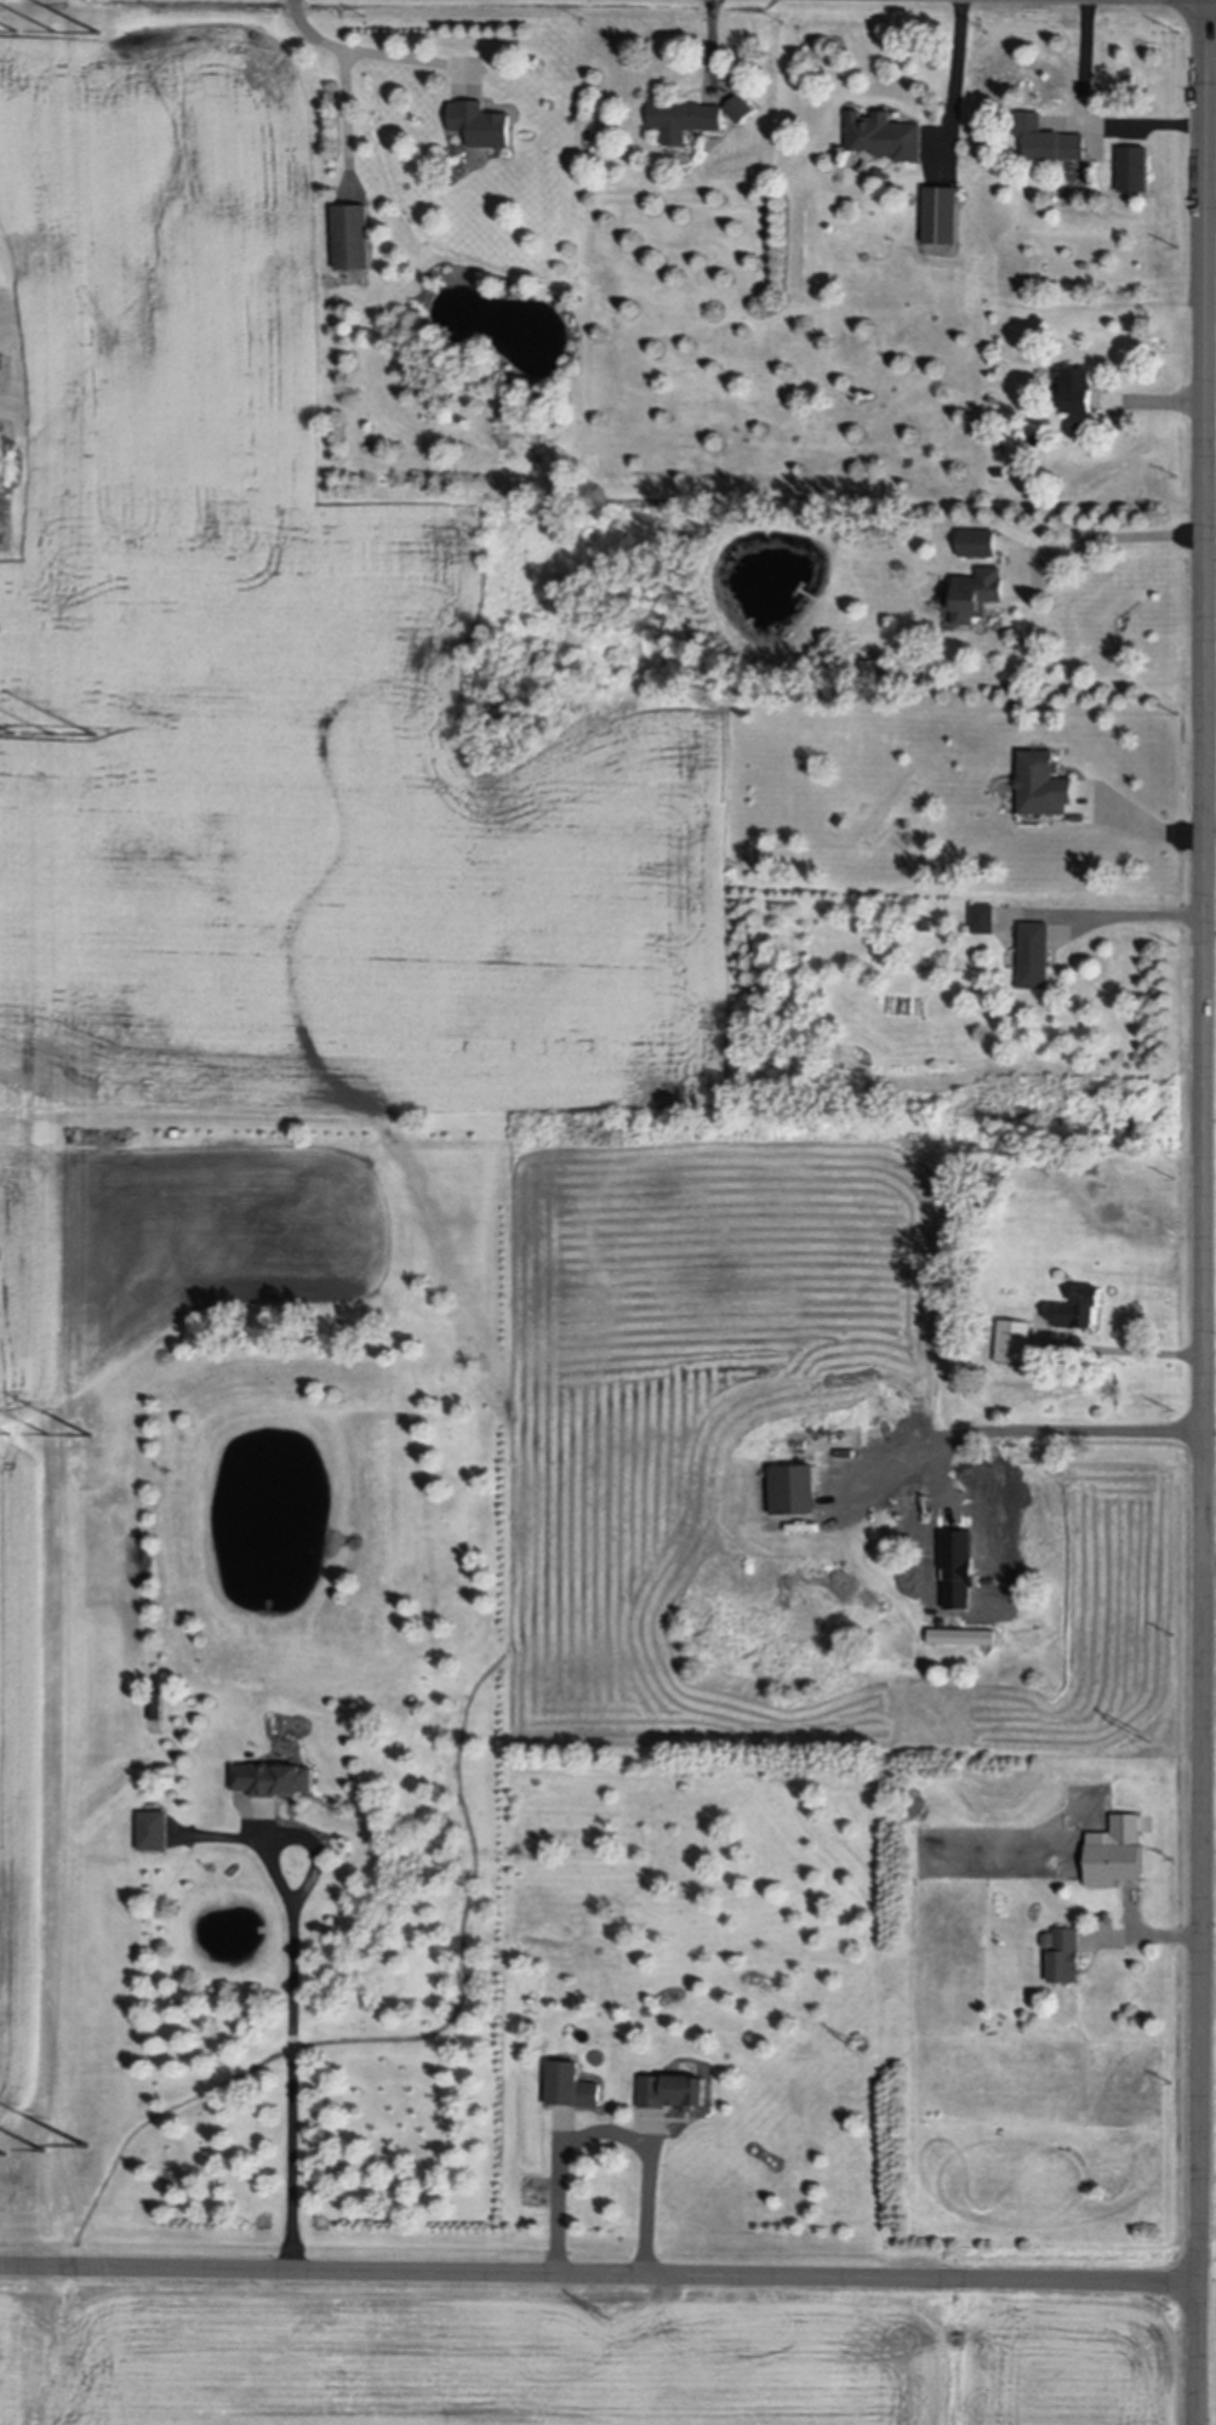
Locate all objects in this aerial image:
power tower: (15, 27)
power tower: (55, 33)
power tower: (95, 35)
road: (375, 55)
road: (955, 81)
building: (740, 106)
building: (685, 116)
road: (347, 118)
road: (1090, 119)
building: (483, 120)
building: (885, 132)
building: (1049, 136)
building: (1134, 166)
building: (881, 172)
building: (941, 211)
building: (353, 233)
building: (1, 359)
building: (1079, 386)
building: (999, 471)
road: (1112, 537)
building: (980, 541)
building: (977, 592)
building: (869, 668)
power tower: (12, 734)
power tower: (52, 735)
power tower: (95, 736)
building: (1043, 782)
building: (840, 819)
road: (1138, 821)
building: (984, 917)
road: (1131, 917)
building: (927, 923)
building: (1034, 954)
road: (1204, 1212)
building: (542, 1248)
building: (1078, 1308)
building: (1015, 1340)
road: (1010, 1429)
power tower: (7, 1434)
power tower: (46, 1435)
building: (847, 1435)
power tower: (85, 1439)
building: (794, 1488)
road: (944, 1519)
building: (964, 1638)
power tower: (1142, 1737)
building: (114, 1746)
building: (273, 1780)
building: (154, 1831)
building: (1117, 1851)
building: (1049, 1940)
building: (1066, 1957)
road: (295, 2002)
power tower: (857, 2045)
building: (571, 2087)
building: (674, 2093)
road: (607, 2135)
power tower: (80, 2150)
power tower: (44, 2152)
power tower: (4, 2157)
road: (600, 2276)
power tower: (604, 2315)

